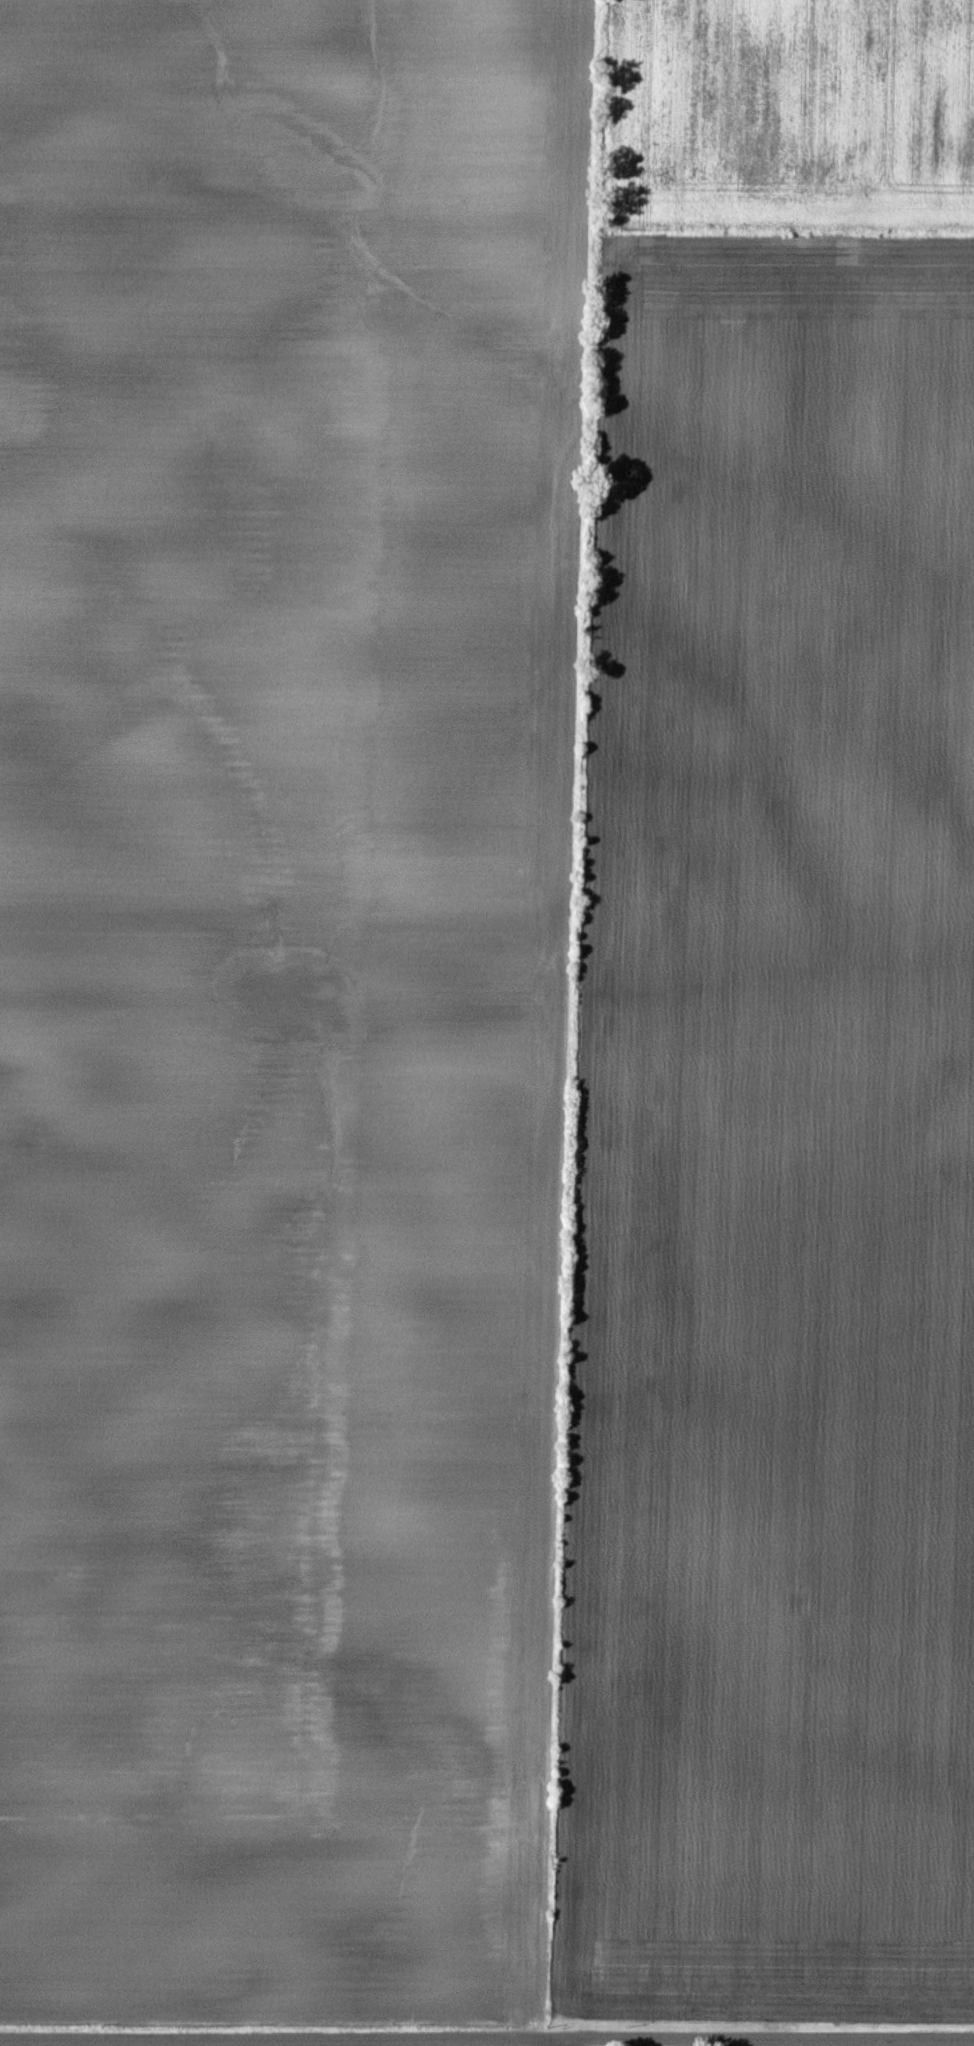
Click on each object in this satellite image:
road: (770, 2040)
road: (283, 2042)
road: (566, 2043)

